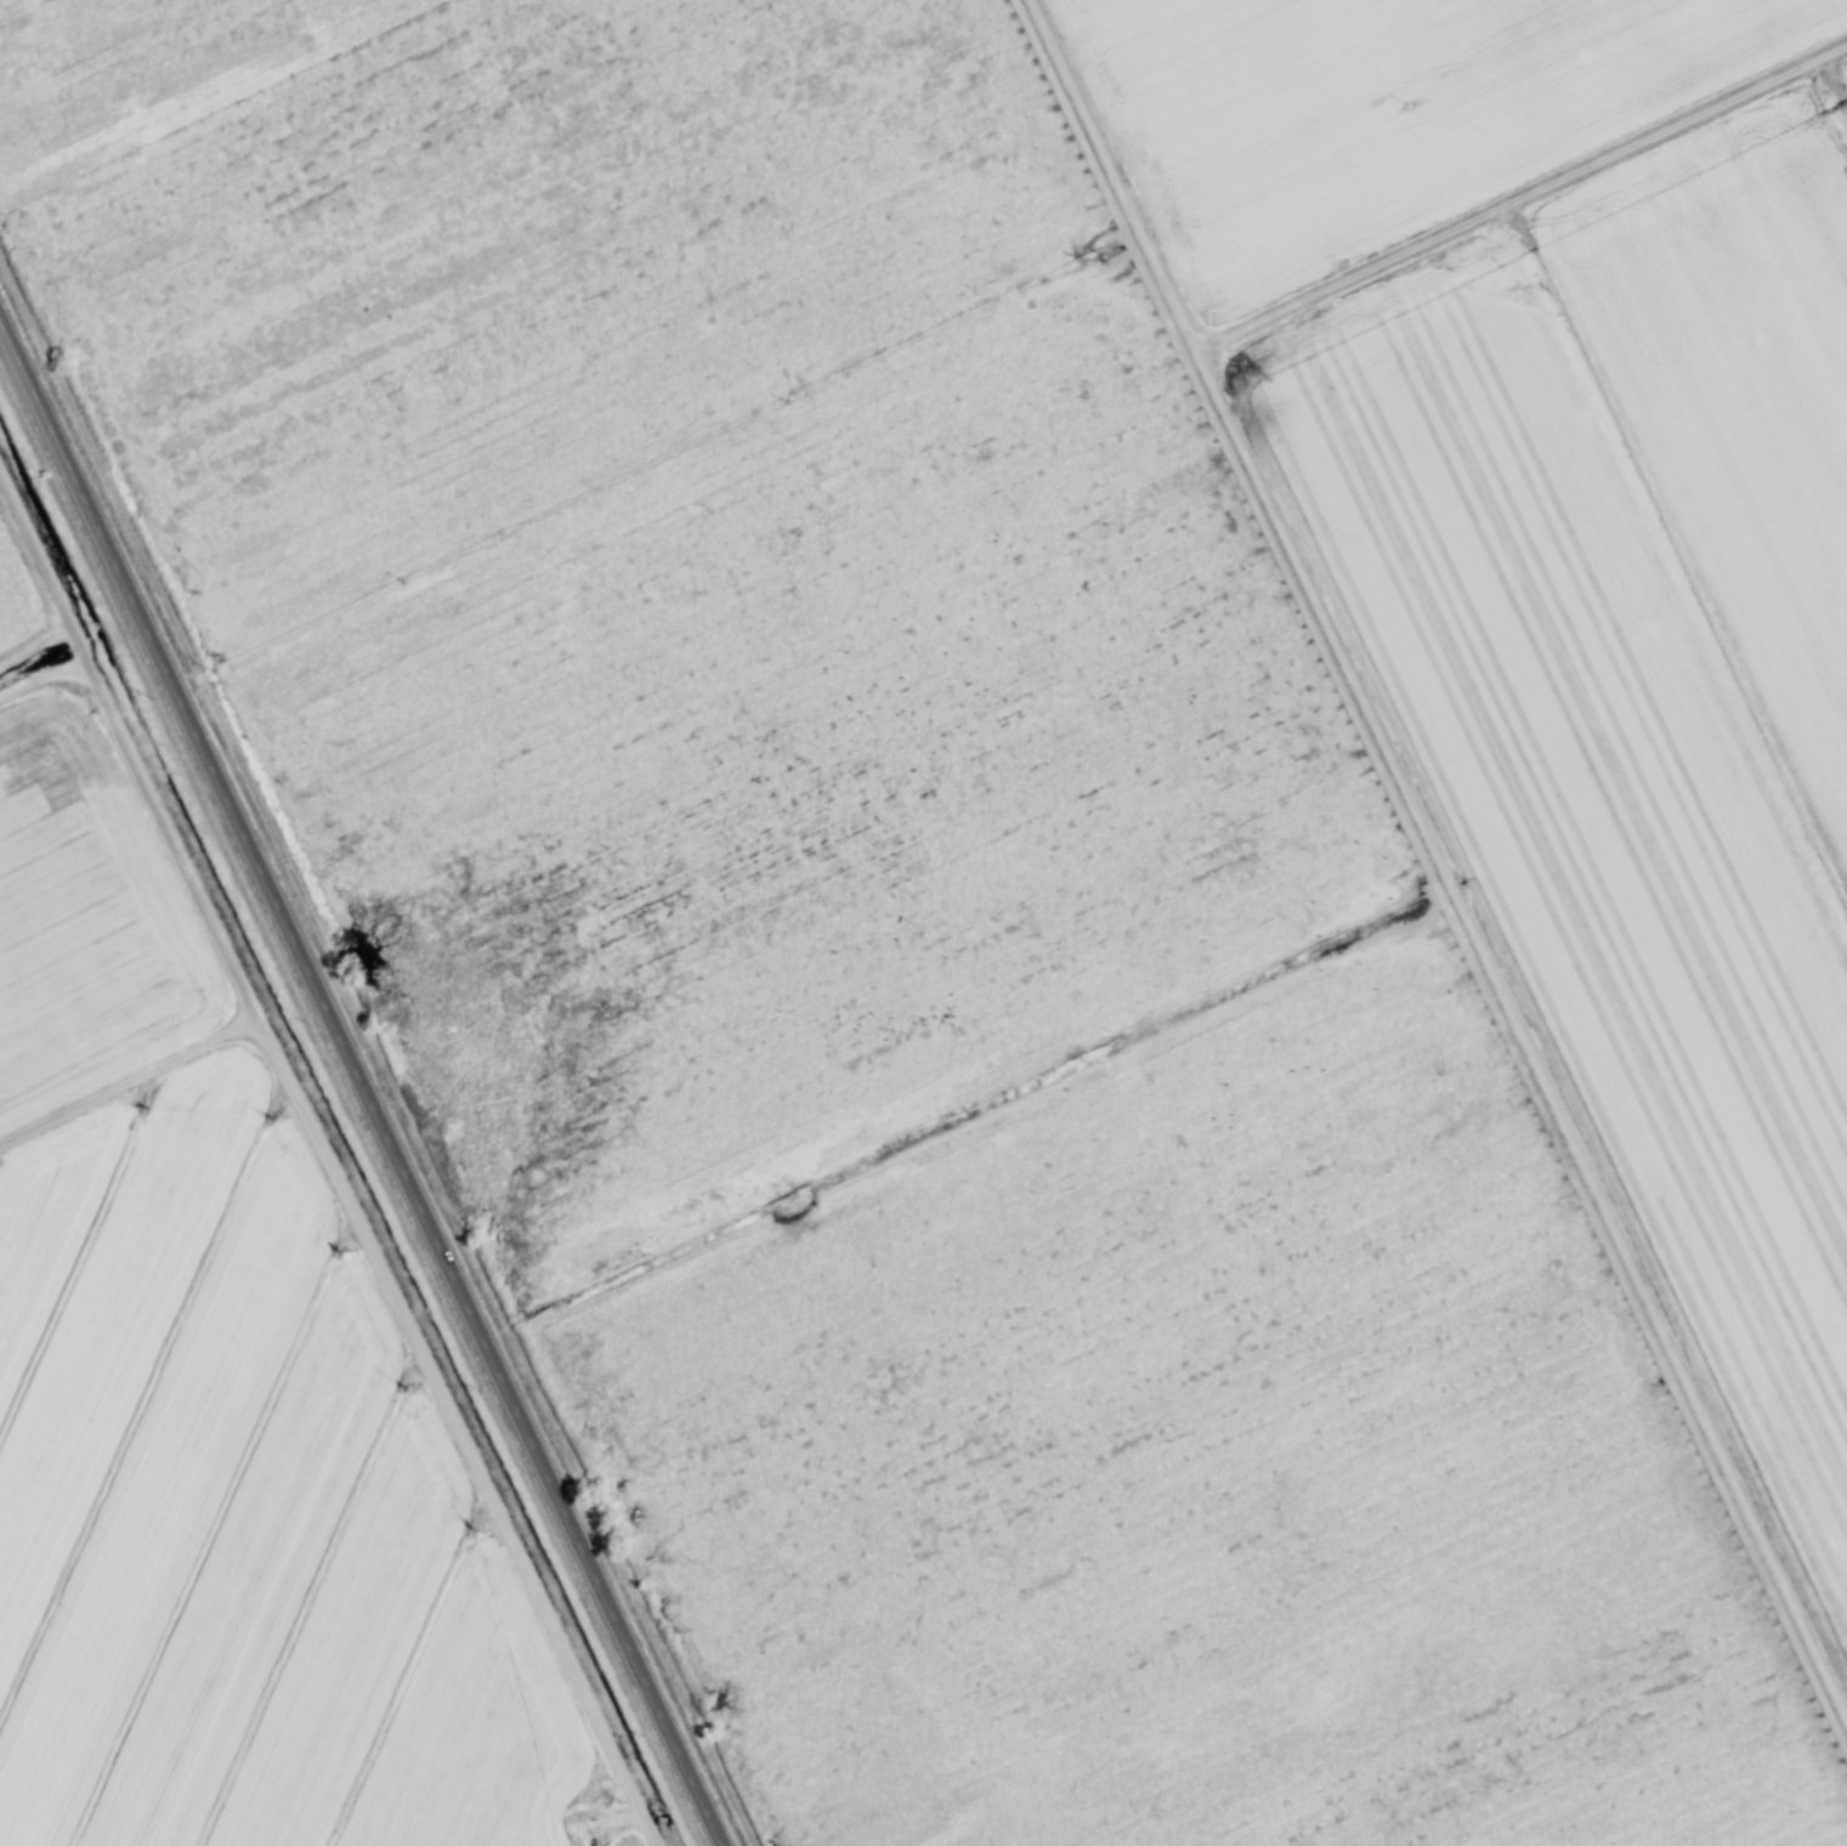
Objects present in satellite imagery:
road: (361, 1085)

